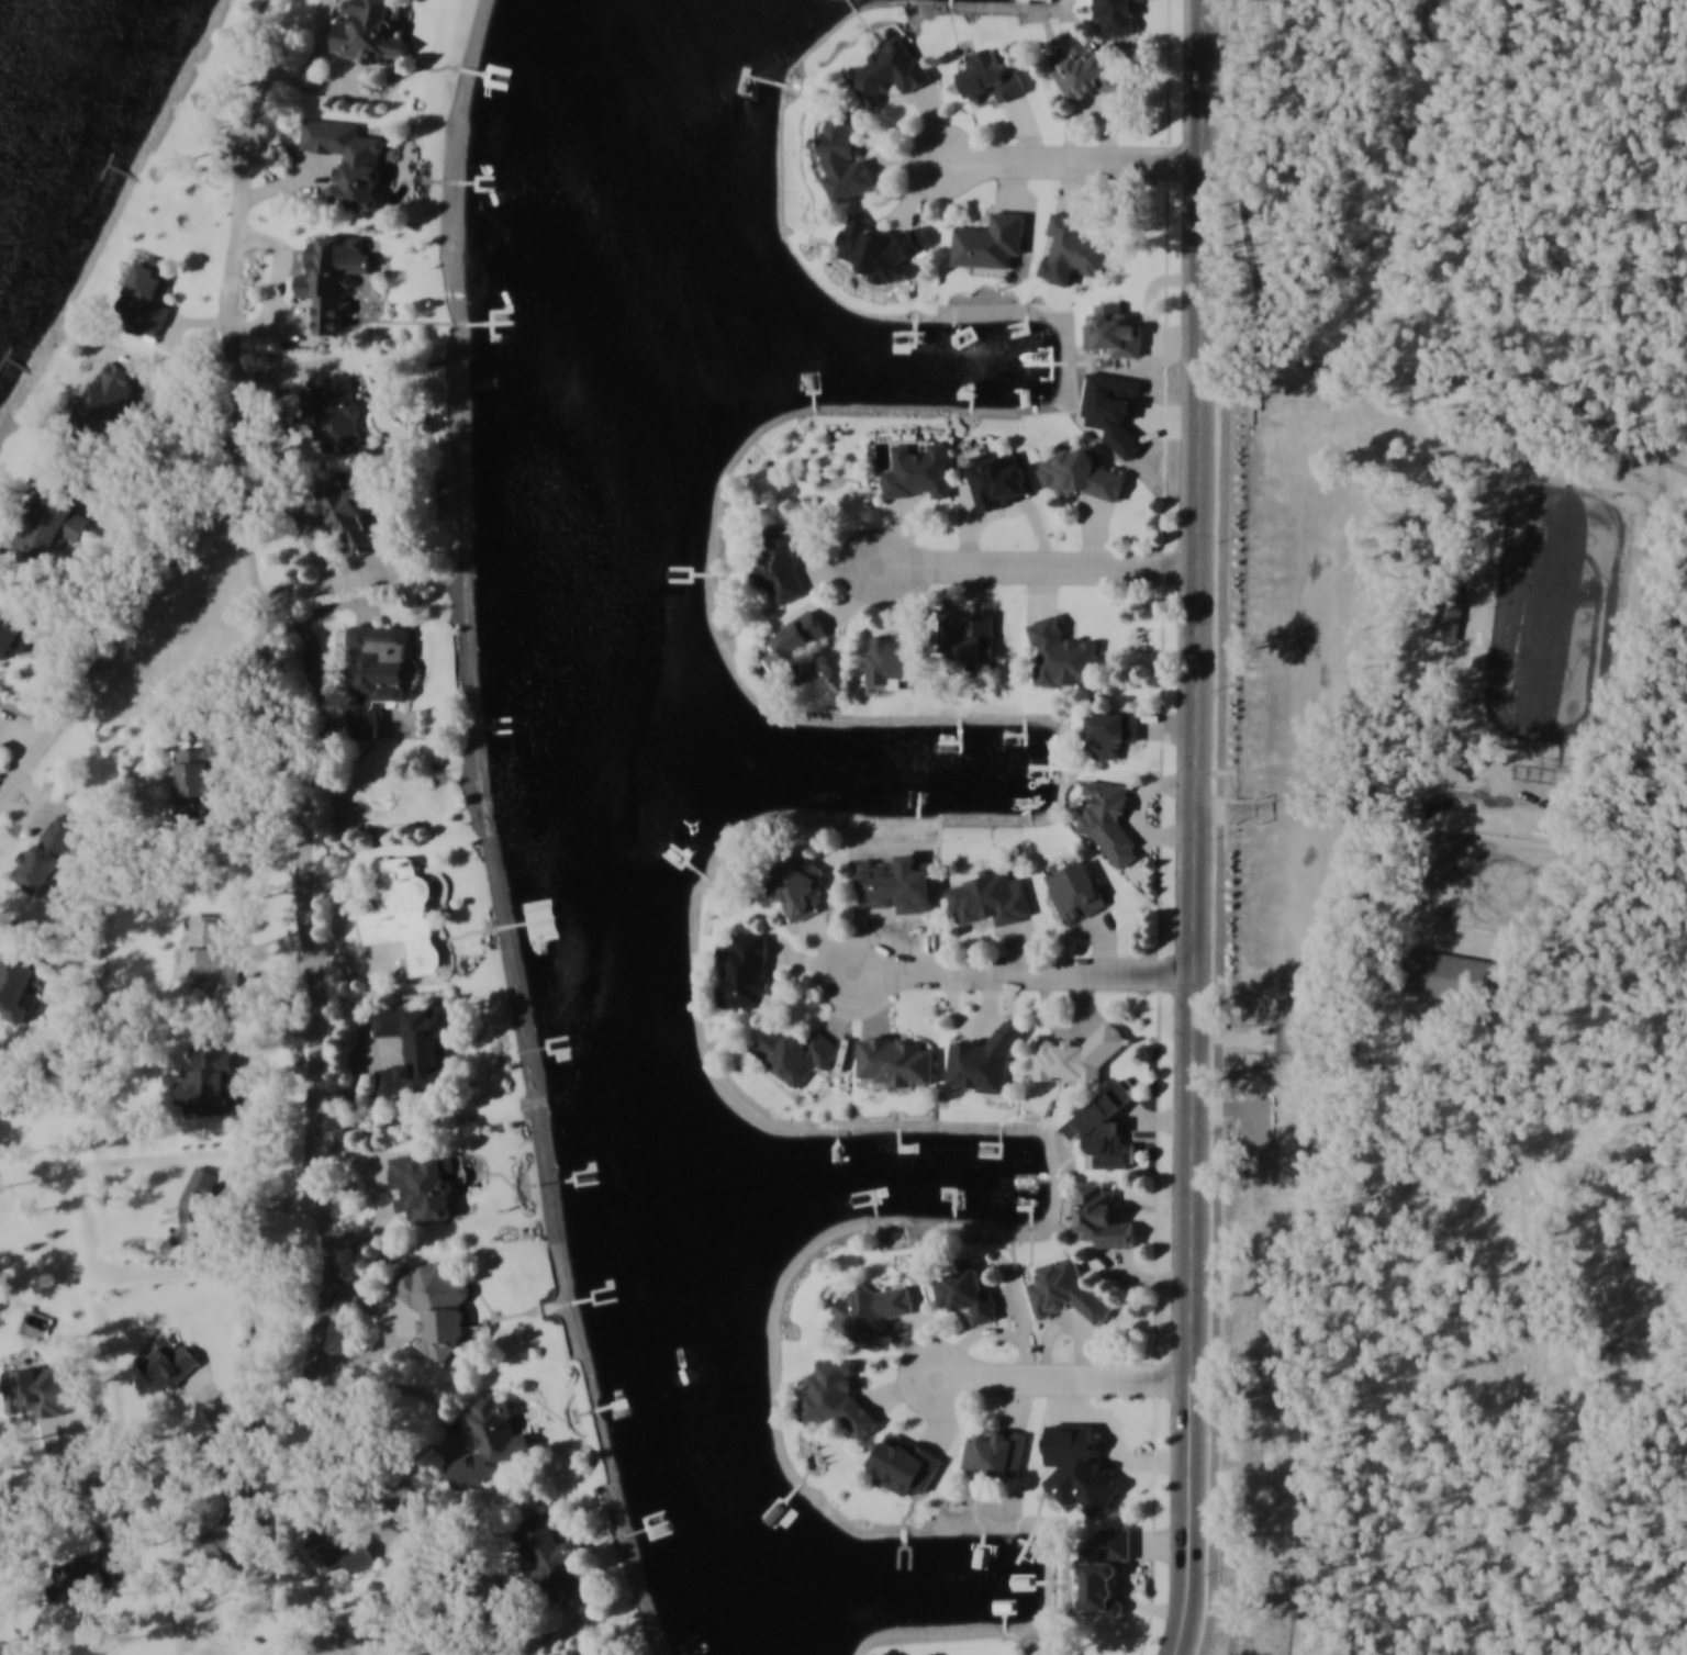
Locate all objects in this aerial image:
building: (1116, 15)
building: (367, 34)
road: (322, 43)
road: (254, 69)
building: (890, 70)
building: (1090, 72)
building: (992, 76)
road: (314, 82)
road: (288, 138)
building: (845, 153)
road: (1081, 160)
building: (348, 164)
road: (919, 171)
road: (291, 182)
building: (991, 239)
building: (1075, 245)
building: (881, 247)
road: (278, 283)
building: (332, 283)
building: (145, 299)
road: (291, 317)
road: (171, 327)
building: (1114, 329)
road: (180, 343)
road: (1319, 368)
road: (288, 371)
building: (105, 402)
building: (335, 416)
road: (188, 421)
road: (284, 426)
building: (918, 471)
building: (1081, 473)
building: (997, 479)
building: (54, 513)
building: (350, 521)
road: (303, 522)
road: (123, 534)
building: (781, 561)
road: (1050, 564)
road: (854, 578)
road: (326, 586)
park: (1557, 607)
road: (340, 608)
building: (1452, 616)
building: (16, 635)
building: (1133, 636)
building: (965, 641)
road: (49, 646)
building: (797, 648)
road: (113, 650)
building: (1062, 656)
building: (891, 660)
road: (62, 662)
building: (1485, 667)
building: (373, 676)
road: (316, 686)
building: (1111, 730)
road: (2, 733)
road: (19, 738)
road: (243, 743)
road: (259, 746)
road: (306, 771)
building: (200, 773)
road: (36, 795)
road: (25, 812)
building: (1108, 813)
road: (1162, 828)
road: (1194, 828)
road: (490, 835)
building: (44, 859)
building: (796, 881)
park: (1498, 883)
building: (1075, 891)
building: (991, 896)
building: (399, 898)
road: (345, 903)
building: (549, 935)
building: (211, 952)
building: (747, 970)
road: (365, 971)
road: (1037, 972)
road: (279, 975)
building: (21, 979)
building: (1463, 981)
road: (827, 985)
road: (1224, 987)
building: (413, 1043)
park: (1452, 1050)
building: (796, 1052)
road: (261, 1054)
building: (1073, 1055)
road: (248, 1059)
building: (895, 1060)
building: (984, 1062)
road: (361, 1072)
building: (211, 1076)
road: (1219, 1080)
road: (1277, 1103)
parking lot: (1276, 1108)
building: (1107, 1127)
road: (1472, 1165)
road: (382, 1174)
building: (422, 1174)
road: (381, 1194)
road: (266, 1200)
building: (197, 1208)
building: (1103, 1216)
building: (967, 1290)
building: (1066, 1294)
building: (435, 1301)
road: (399, 1309)
building: (870, 1310)
road: (381, 1346)
building: (169, 1357)
road: (1077, 1377)
building: (34, 1387)
road: (910, 1390)
road: (440, 1401)
building: (837, 1401)
road: (211, 1404)
road: (1314, 1421)
building: (491, 1438)
road: (461, 1447)
road: (58, 1452)
building: (996, 1452)
building: (906, 1463)
road: (154, 1464)
building: (1080, 1466)
road: (232, 1467)
building: (770, 1514)
road: (416, 1522)
road: (130, 1523)
road: (98, 1524)
building: (238, 1528)
road: (392, 1534)
building: (342, 1547)
building: (550, 1554)
building: (1104, 1568)
building: (80, 1574)
road: (496, 1585)
road: (561, 1630)
road: (959, 1634)
building: (1055, 1648)

